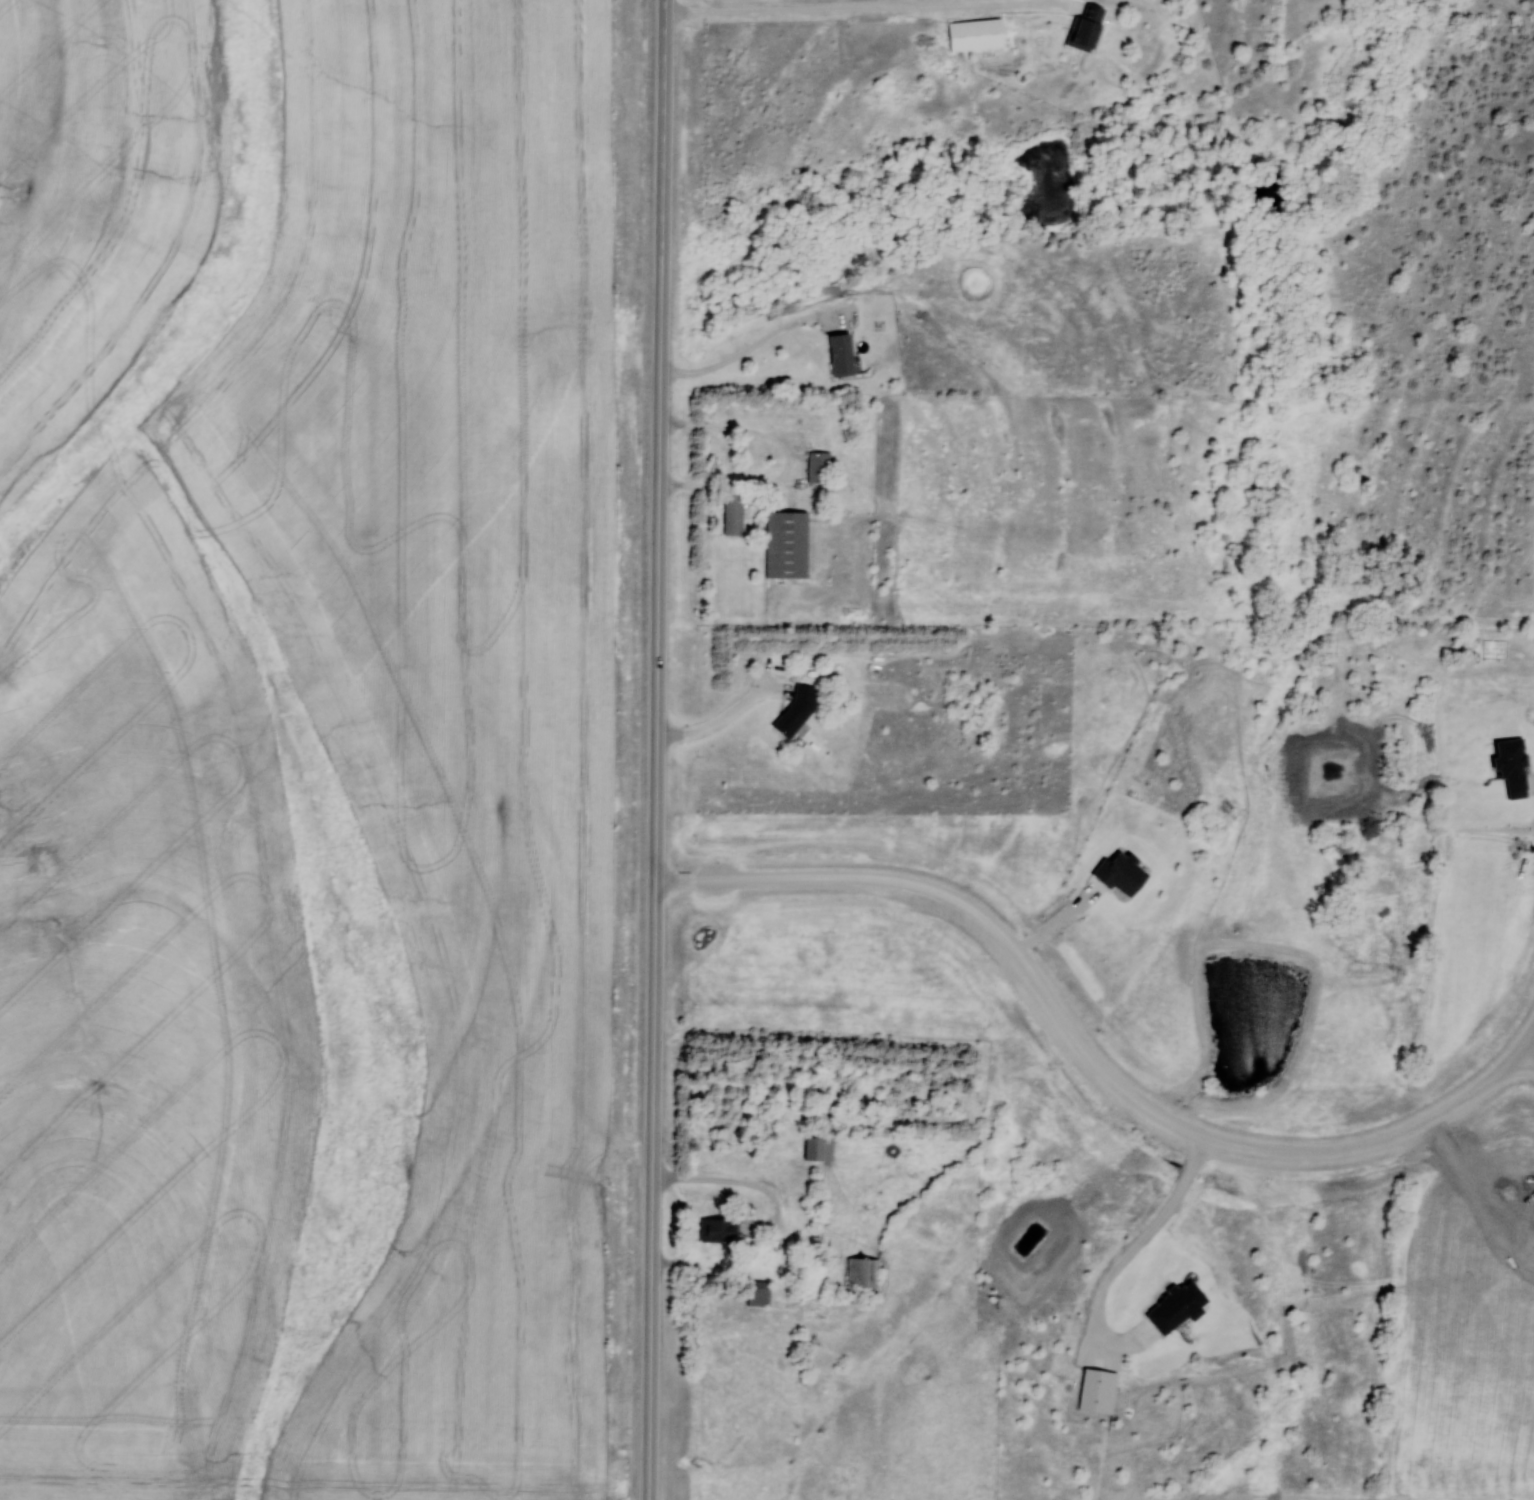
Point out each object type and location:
road: (861, 8)
building: (1086, 28)
building: (976, 35)
building: (880, 89)
road: (753, 345)
building: (841, 355)
road: (787, 461)
building: (819, 465)
building: (733, 514)
building: (787, 545)
road: (721, 719)
road: (657, 750)
road: (1529, 1044)
road: (1083, 1050)
road: (1529, 1056)
building: (819, 1149)
road: (731, 1181)
building: (718, 1231)
building: (862, 1273)
building: (759, 1294)

